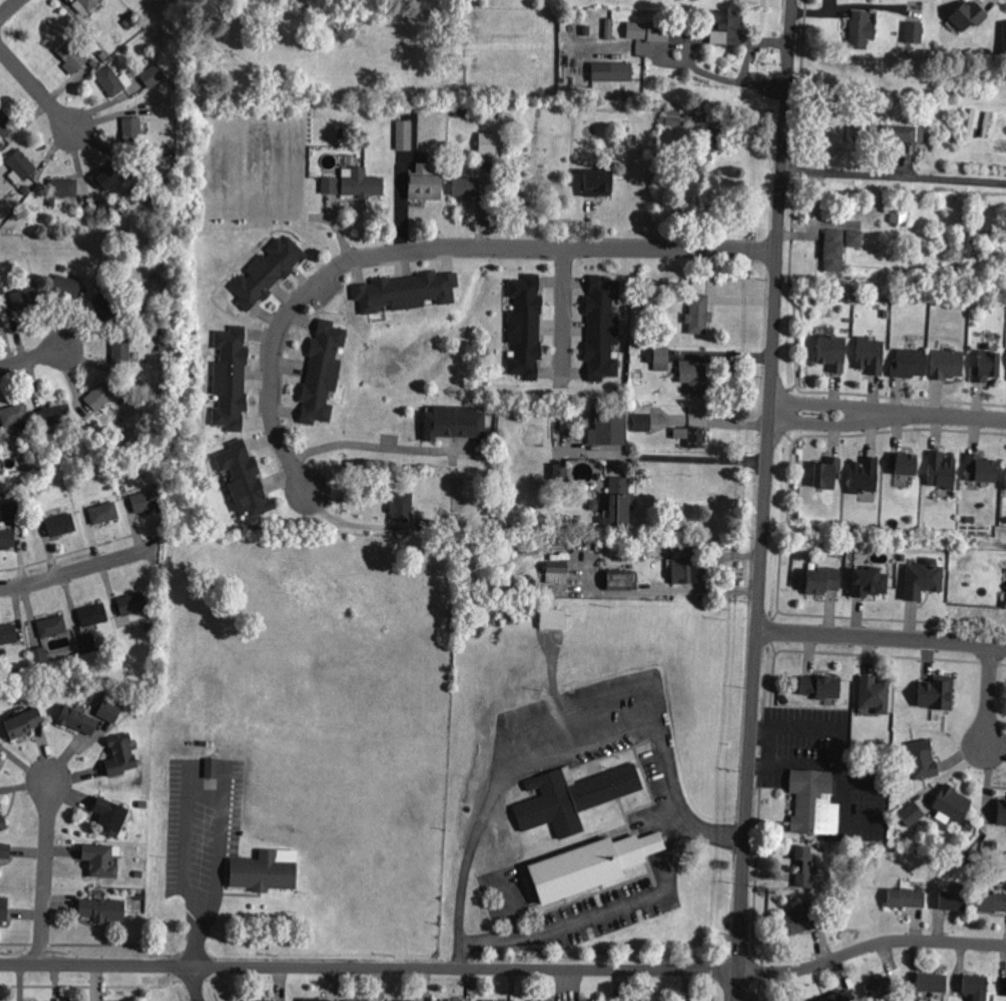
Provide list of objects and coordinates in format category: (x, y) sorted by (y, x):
building: (84, 5)
road: (9, 9)
building: (968, 16)
building: (131, 23)
building: (726, 26)
building: (609, 28)
building: (862, 29)
building: (586, 31)
building: (657, 31)
building: (915, 33)
building: (693, 34)
building: (1004, 40)
building: (73, 56)
building: (89, 68)
building: (613, 72)
building: (152, 77)
building: (110, 83)
road: (37, 87)
building: (460, 114)
building: (672, 119)
building: (861, 123)
building: (7, 125)
building: (132, 131)
building: (903, 132)
building: (346, 133)
building: (402, 134)
building: (714, 141)
building: (487, 142)
building: (2, 146)
building: (171, 155)
building: (22, 165)
road: (894, 174)
building: (110, 176)
building: (361, 181)
building: (597, 182)
building: (424, 184)
building: (330, 186)
building: (465, 187)
building: (62, 190)
building: (25, 191)
building: (110, 209)
building: (899, 215)
building: (856, 237)
building: (966, 243)
road: (426, 246)
building: (834, 249)
building: (24, 267)
building: (268, 272)
building: (85, 287)
building: (66, 288)
building: (406, 292)
building: (25, 299)
building: (103, 308)
road: (563, 310)
building: (699, 313)
building: (525, 328)
building: (602, 329)
building: (684, 337)
building: (121, 352)
building: (833, 352)
building: (870, 355)
road: (32, 357)
building: (659, 357)
building: (910, 363)
building: (947, 363)
building: (987, 365)
building: (322, 373)
building: (695, 376)
building: (231, 378)
building: (100, 396)
road: (846, 407)
road: (963, 414)
building: (54, 415)
building: (14, 416)
building: (643, 421)
building: (455, 423)
road: (846, 425)
building: (574, 427)
building: (608, 427)
building: (697, 436)
road: (356, 443)
road: (692, 458)
building: (903, 464)
building: (23, 465)
building: (159, 465)
building: (980, 469)
building: (559, 470)
building: (941, 471)
building: (108, 473)
building: (827, 473)
building: (863, 476)
building: (1004, 476)
building: (244, 480)
building: (31, 494)
building: (620, 499)
road: (765, 500)
building: (146, 501)
building: (593, 505)
building: (402, 509)
building: (12, 512)
building: (104, 514)
building: (434, 524)
building: (517, 525)
building: (62, 527)
building: (7, 538)
building: (901, 557)
road: (80, 569)
building: (681, 571)
building: (555, 573)
building: (923, 580)
building: (620, 581)
building: (822, 582)
building: (868, 583)
road: (668, 591)
building: (133, 605)
building: (94, 618)
building: (552, 619)
building: (52, 627)
building: (9, 636)
road: (882, 639)
building: (88, 647)
building: (39, 656)
building: (105, 662)
building: (819, 686)
building: (137, 688)
building: (936, 693)
building: (873, 694)
road: (986, 696)
building: (110, 711)
building: (76, 722)
building: (22, 725)
road: (770, 745)
road: (560, 753)
building: (0, 756)
building: (120, 756)
building: (921, 760)
road: (796, 763)
building: (213, 767)
road: (850, 781)
building: (574, 797)
building: (813, 803)
building: (950, 803)
building: (143, 806)
building: (1001, 812)
building: (911, 815)
building: (111, 817)
road: (217, 823)
building: (2, 824)
building: (992, 846)
building: (5, 851)
building: (100, 861)
building: (971, 861)
building: (589, 863)
road: (49, 870)
building: (264, 871)
building: (804, 871)
building: (138, 875)
building: (139, 897)
building: (905, 898)
building: (953, 900)
building: (994, 901)
building: (3, 909)
building: (103, 913)
road: (598, 915)
building: (800, 918)
road: (505, 967)
road: (195, 983)
building: (931, 983)
building: (975, 987)
building: (879, 988)
building: (1005, 995)
building: (835, 996)
building: (259, 999)
building: (316, 999)
building: (360, 999)
building: (405, 1000)
building: (451, 1000)
building: (492, 1000)

